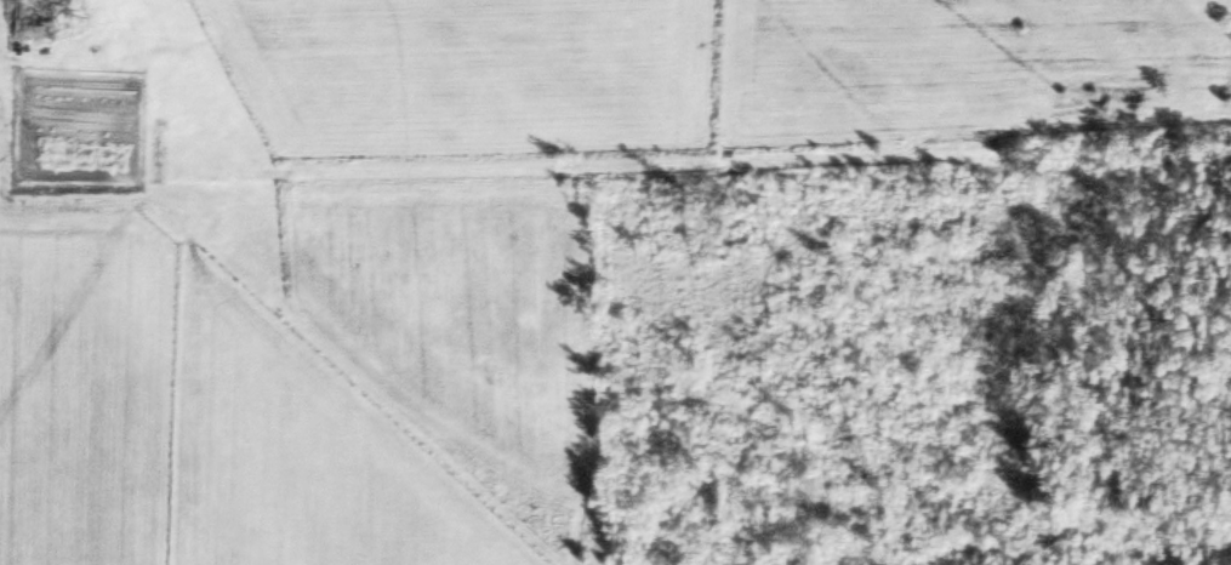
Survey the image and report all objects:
building: (42, 17)

